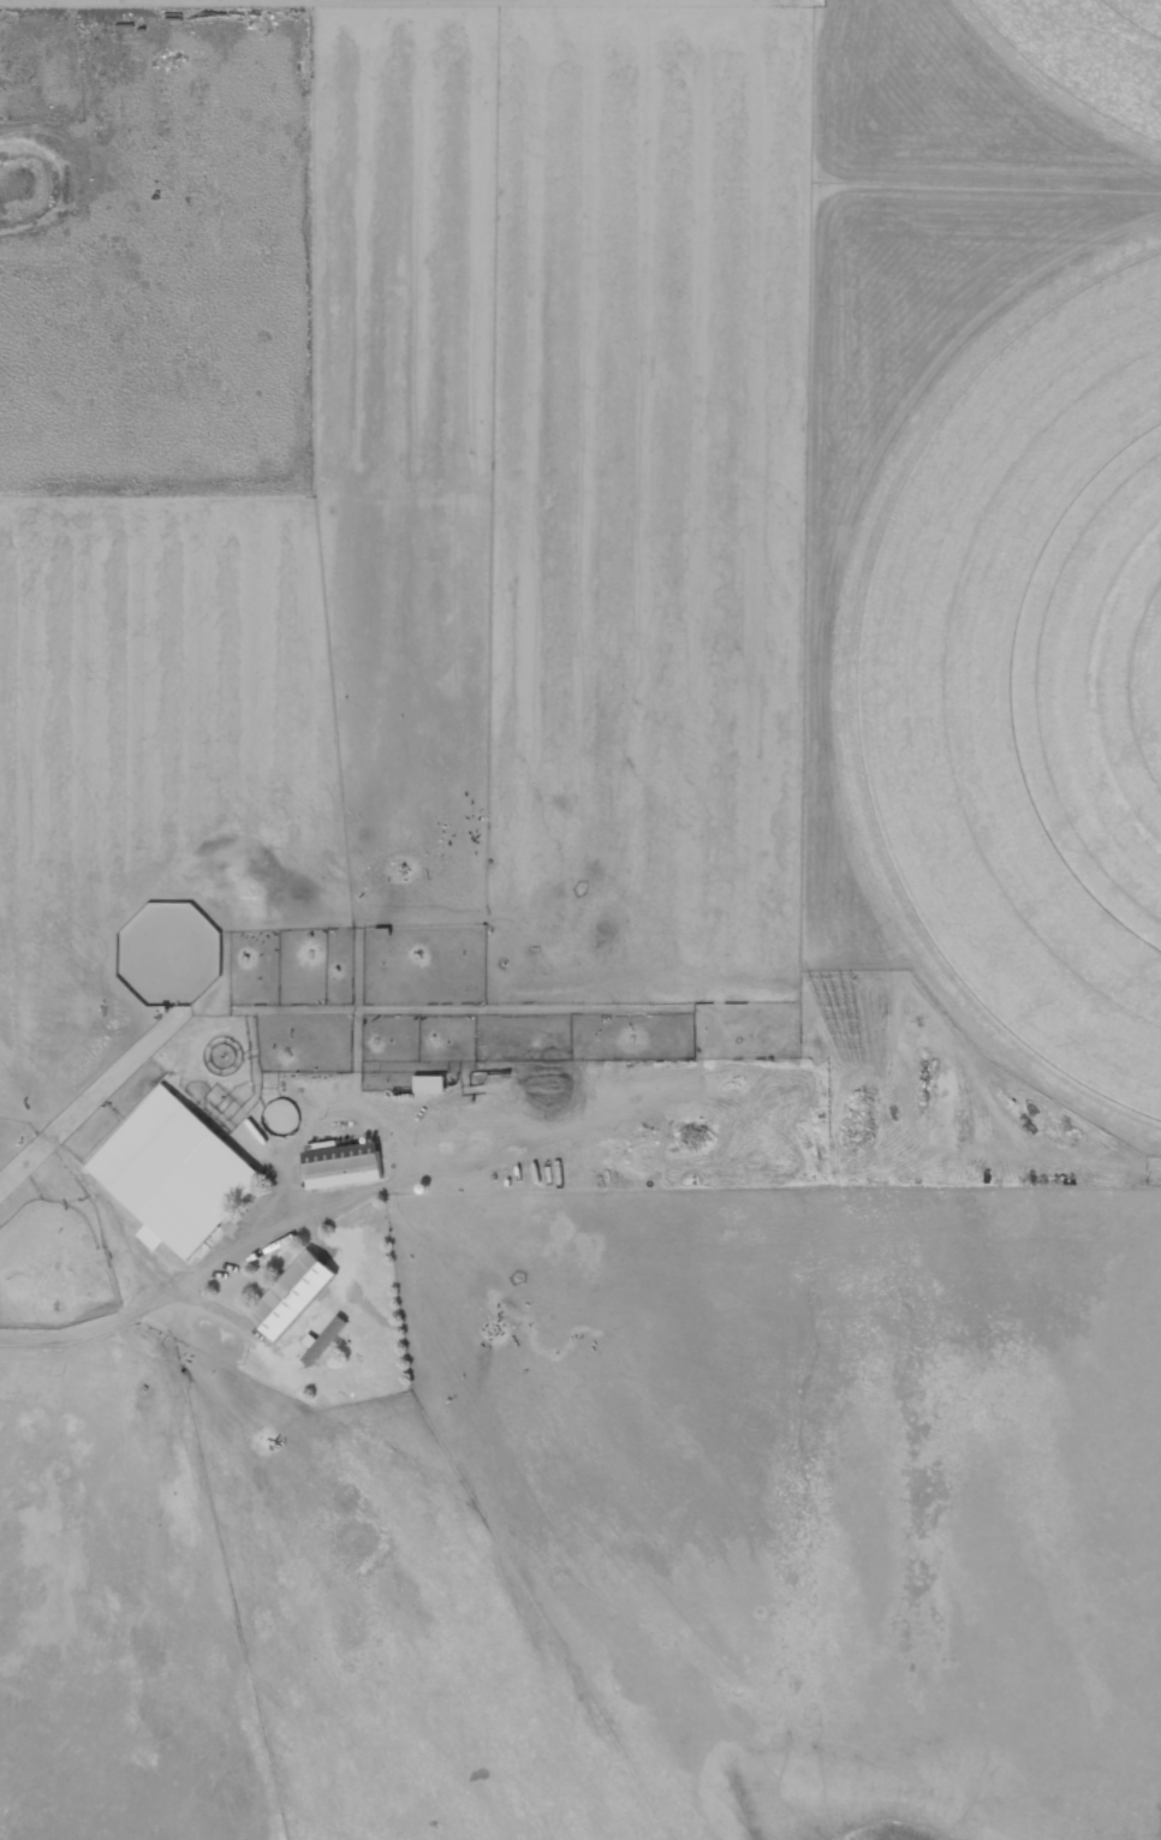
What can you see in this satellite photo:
crop: (1086, 54)
crop: (1024, 684)
building: (430, 1084)
building: (343, 1166)
building: (174, 1174)
road: (174, 1291)
building: (293, 1296)
building: (323, 1341)

